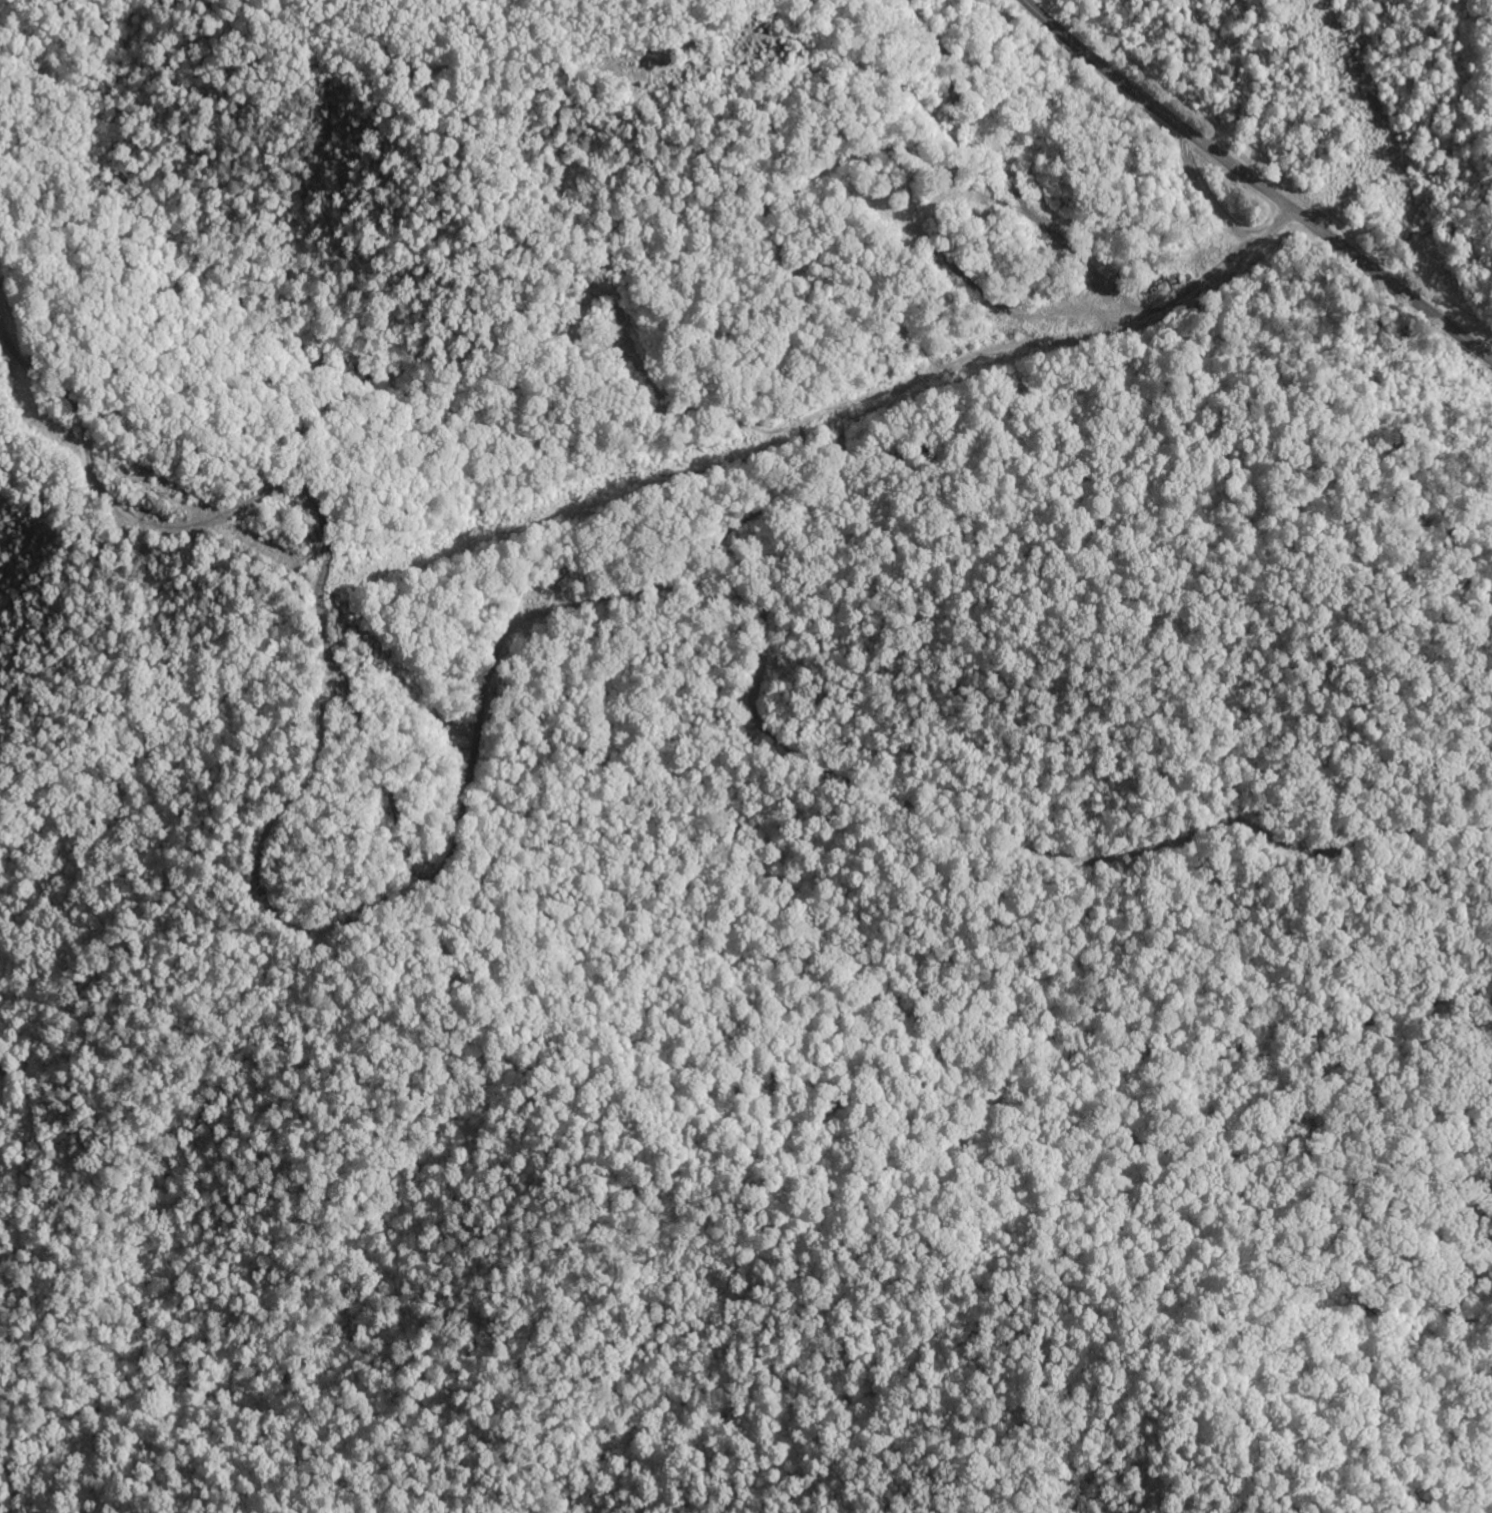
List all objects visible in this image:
road: (1253, 181)

